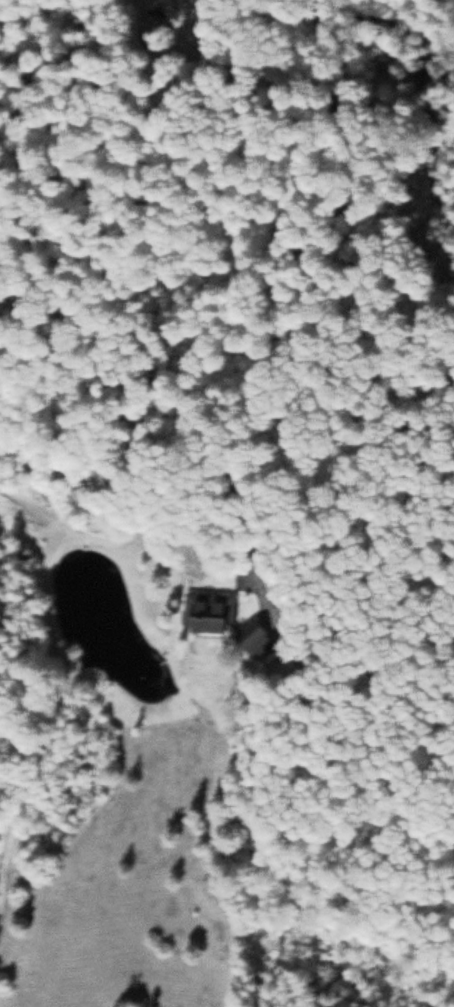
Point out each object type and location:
road: (320, 31)
road: (229, 69)
road: (366, 368)
road: (247, 579)
building: (216, 611)

